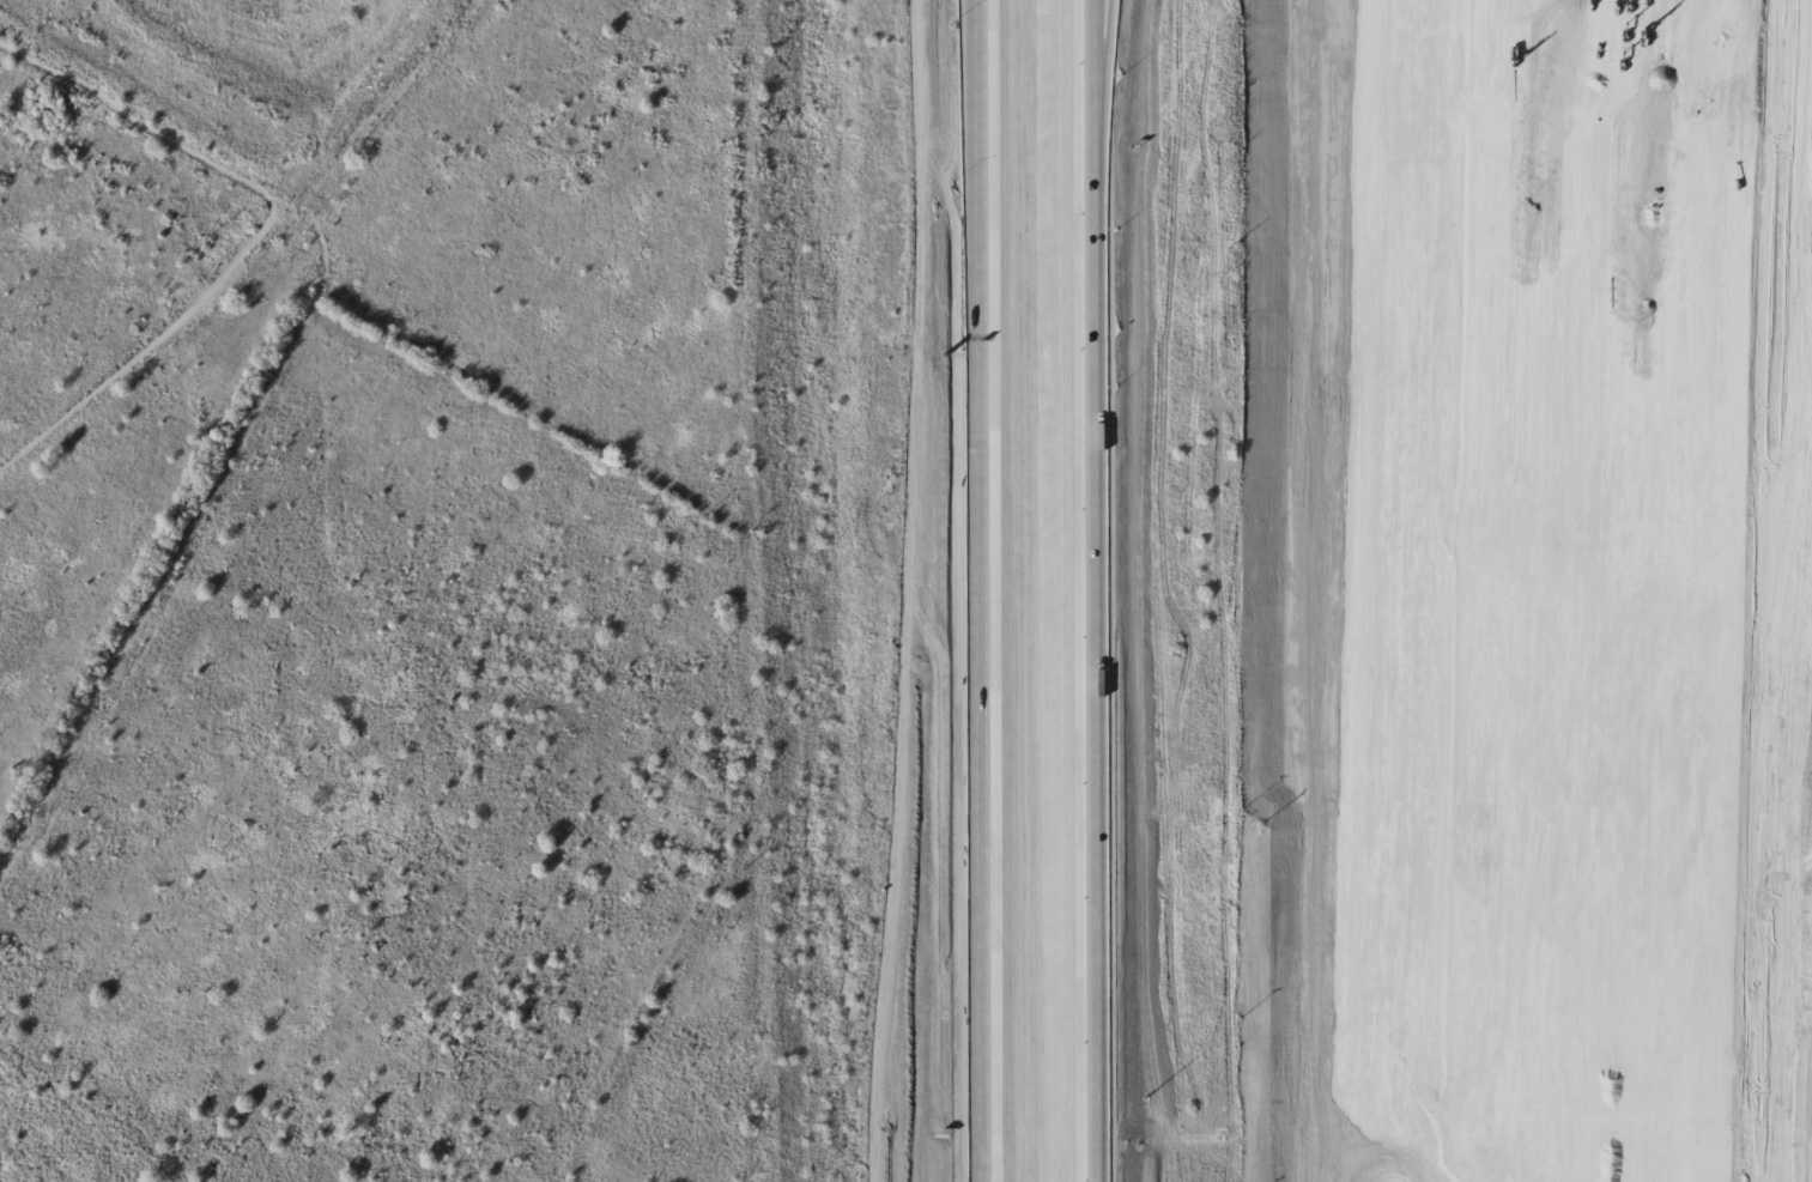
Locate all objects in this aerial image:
road: (1335, 10)
road: (1101, 99)
road: (1109, 99)
road: (1370, 206)
road: (247, 246)
road: (1396, 320)
road: (1441, 320)
road: (1365, 400)
road: (976, 590)
road: (1337, 590)
road: (1358, 590)
road: (1286, 592)
road: (1360, 595)
building: (1637, 598)
road: (1099, 691)
road: (1357, 789)
road: (1382, 939)
road: (1426, 939)
road: (1351, 987)

